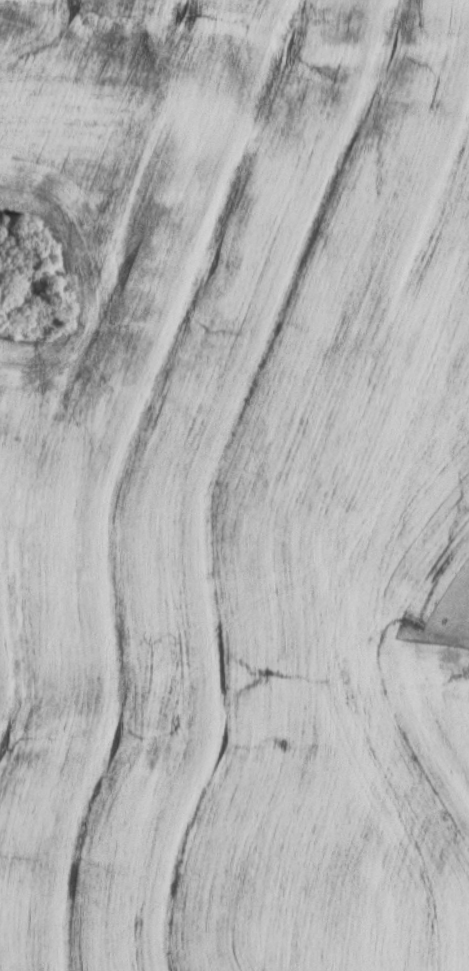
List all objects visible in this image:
crop: (235, 486)

